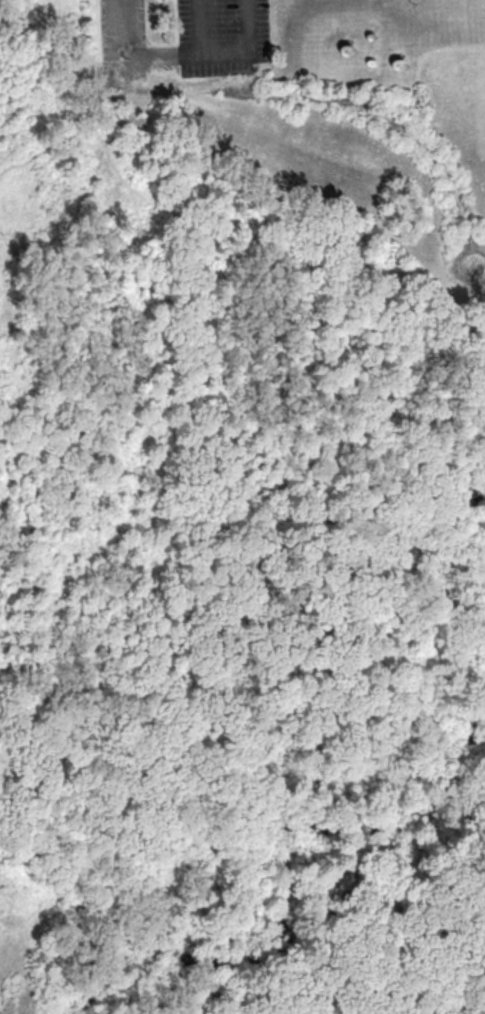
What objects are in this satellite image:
road: (224, 51)
road: (138, 54)
river: (449, 555)
river: (484, 712)
river: (281, 869)

